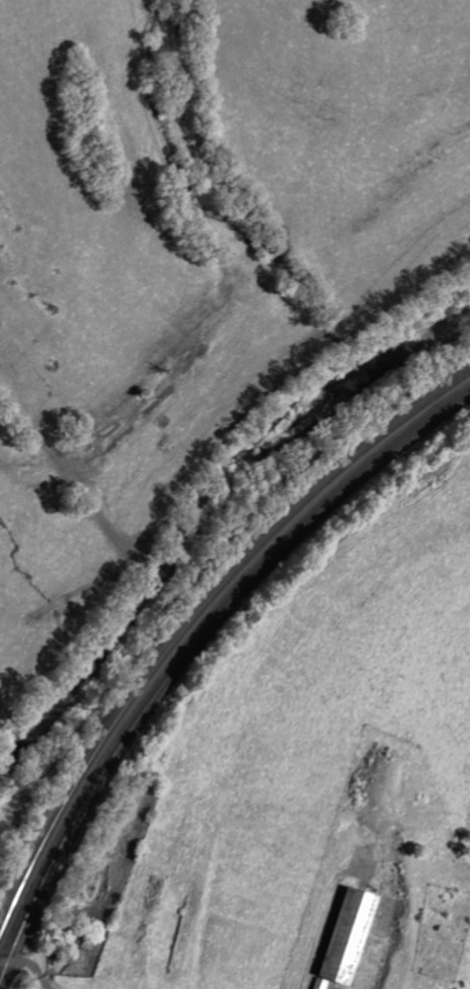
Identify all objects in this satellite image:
road: (199, 571)
railway: (194, 619)
railway: (187, 647)
building: (347, 938)
road: (27, 967)

